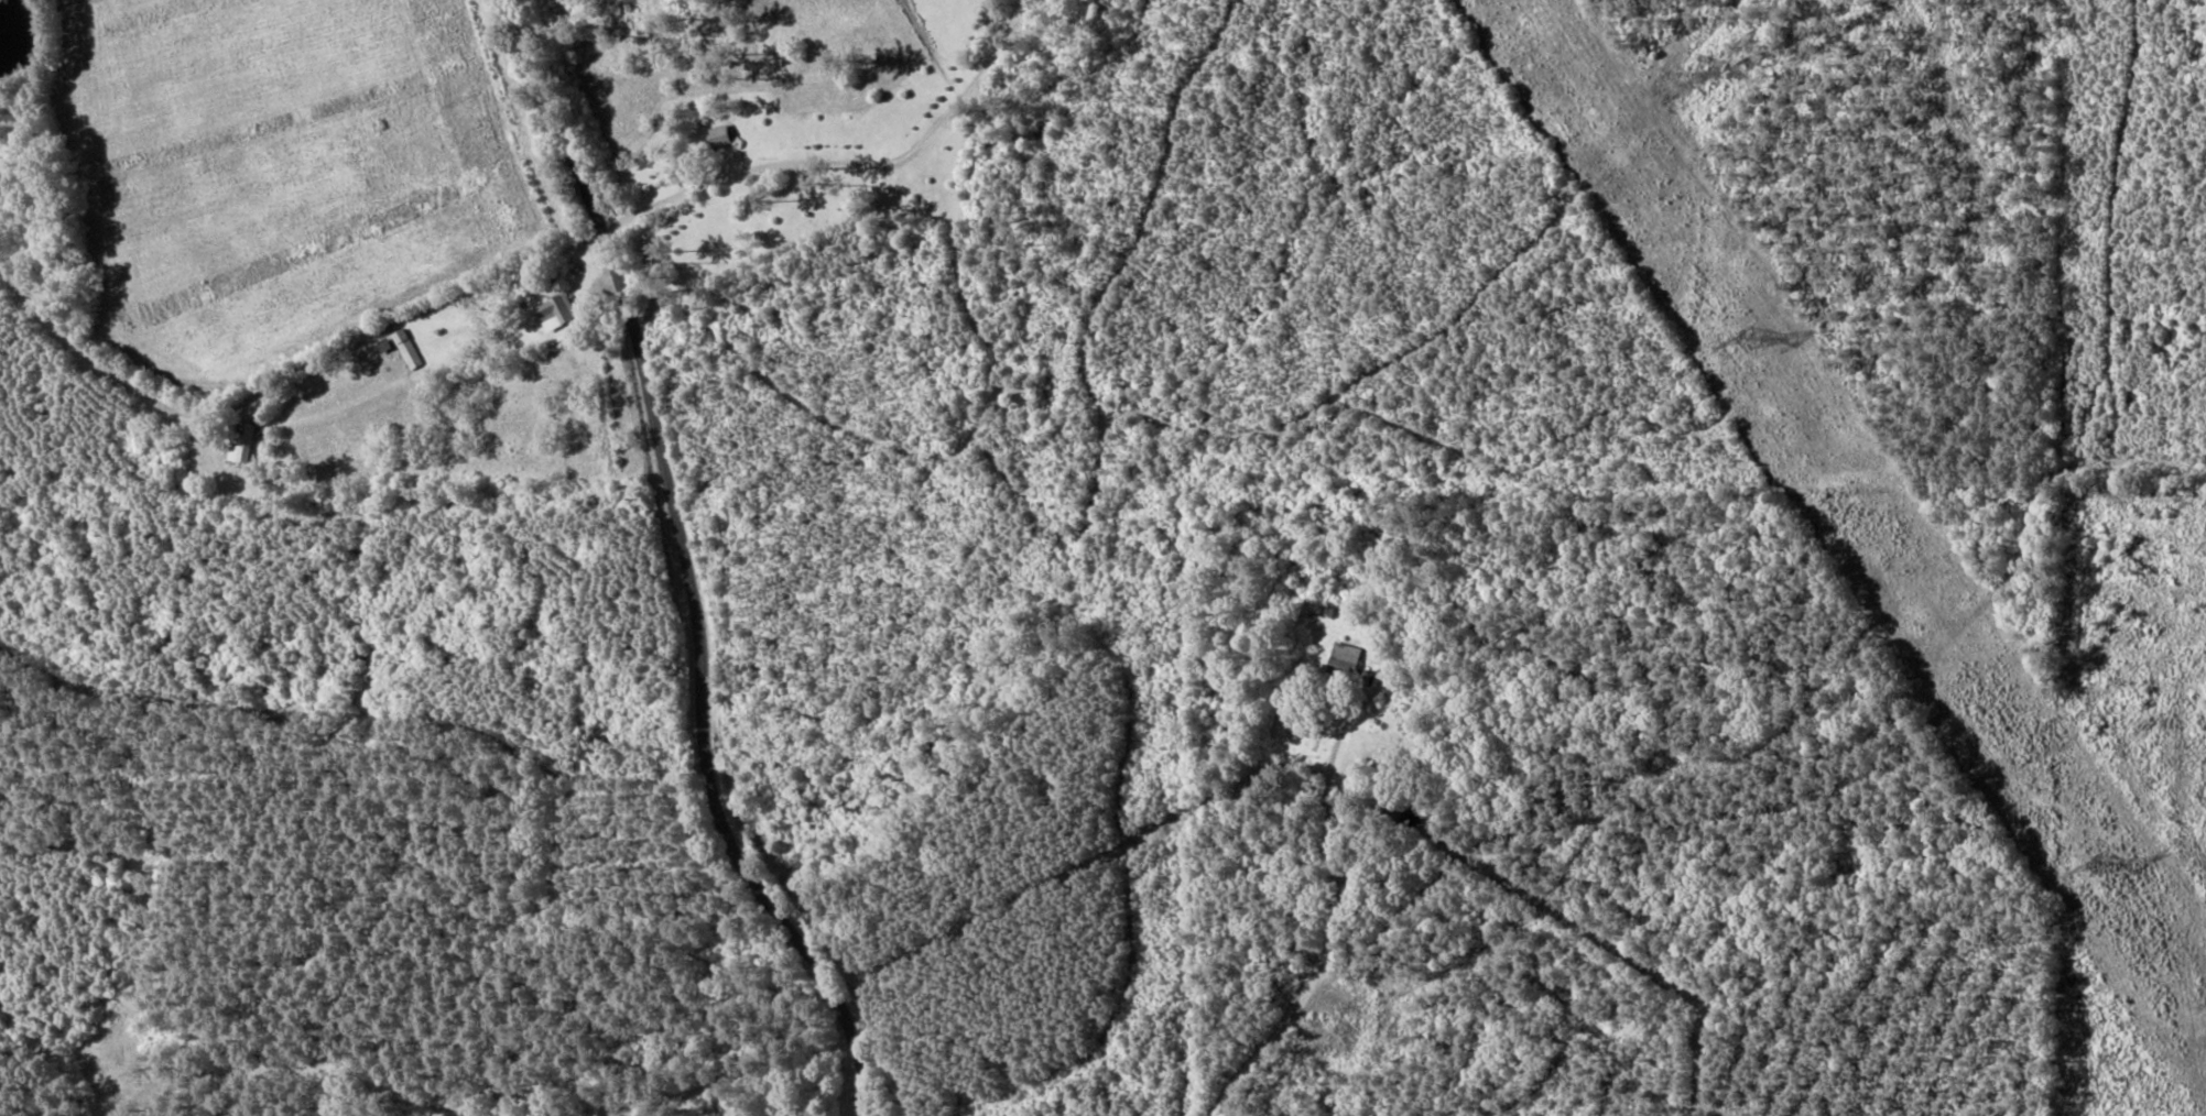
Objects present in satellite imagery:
building: (717, 136)
building: (553, 313)
road: (526, 326)
power tower: (1749, 342)
building: (239, 442)
road: (663, 565)
building: (1341, 658)
power tower: (2102, 868)
road: (1327, 926)

